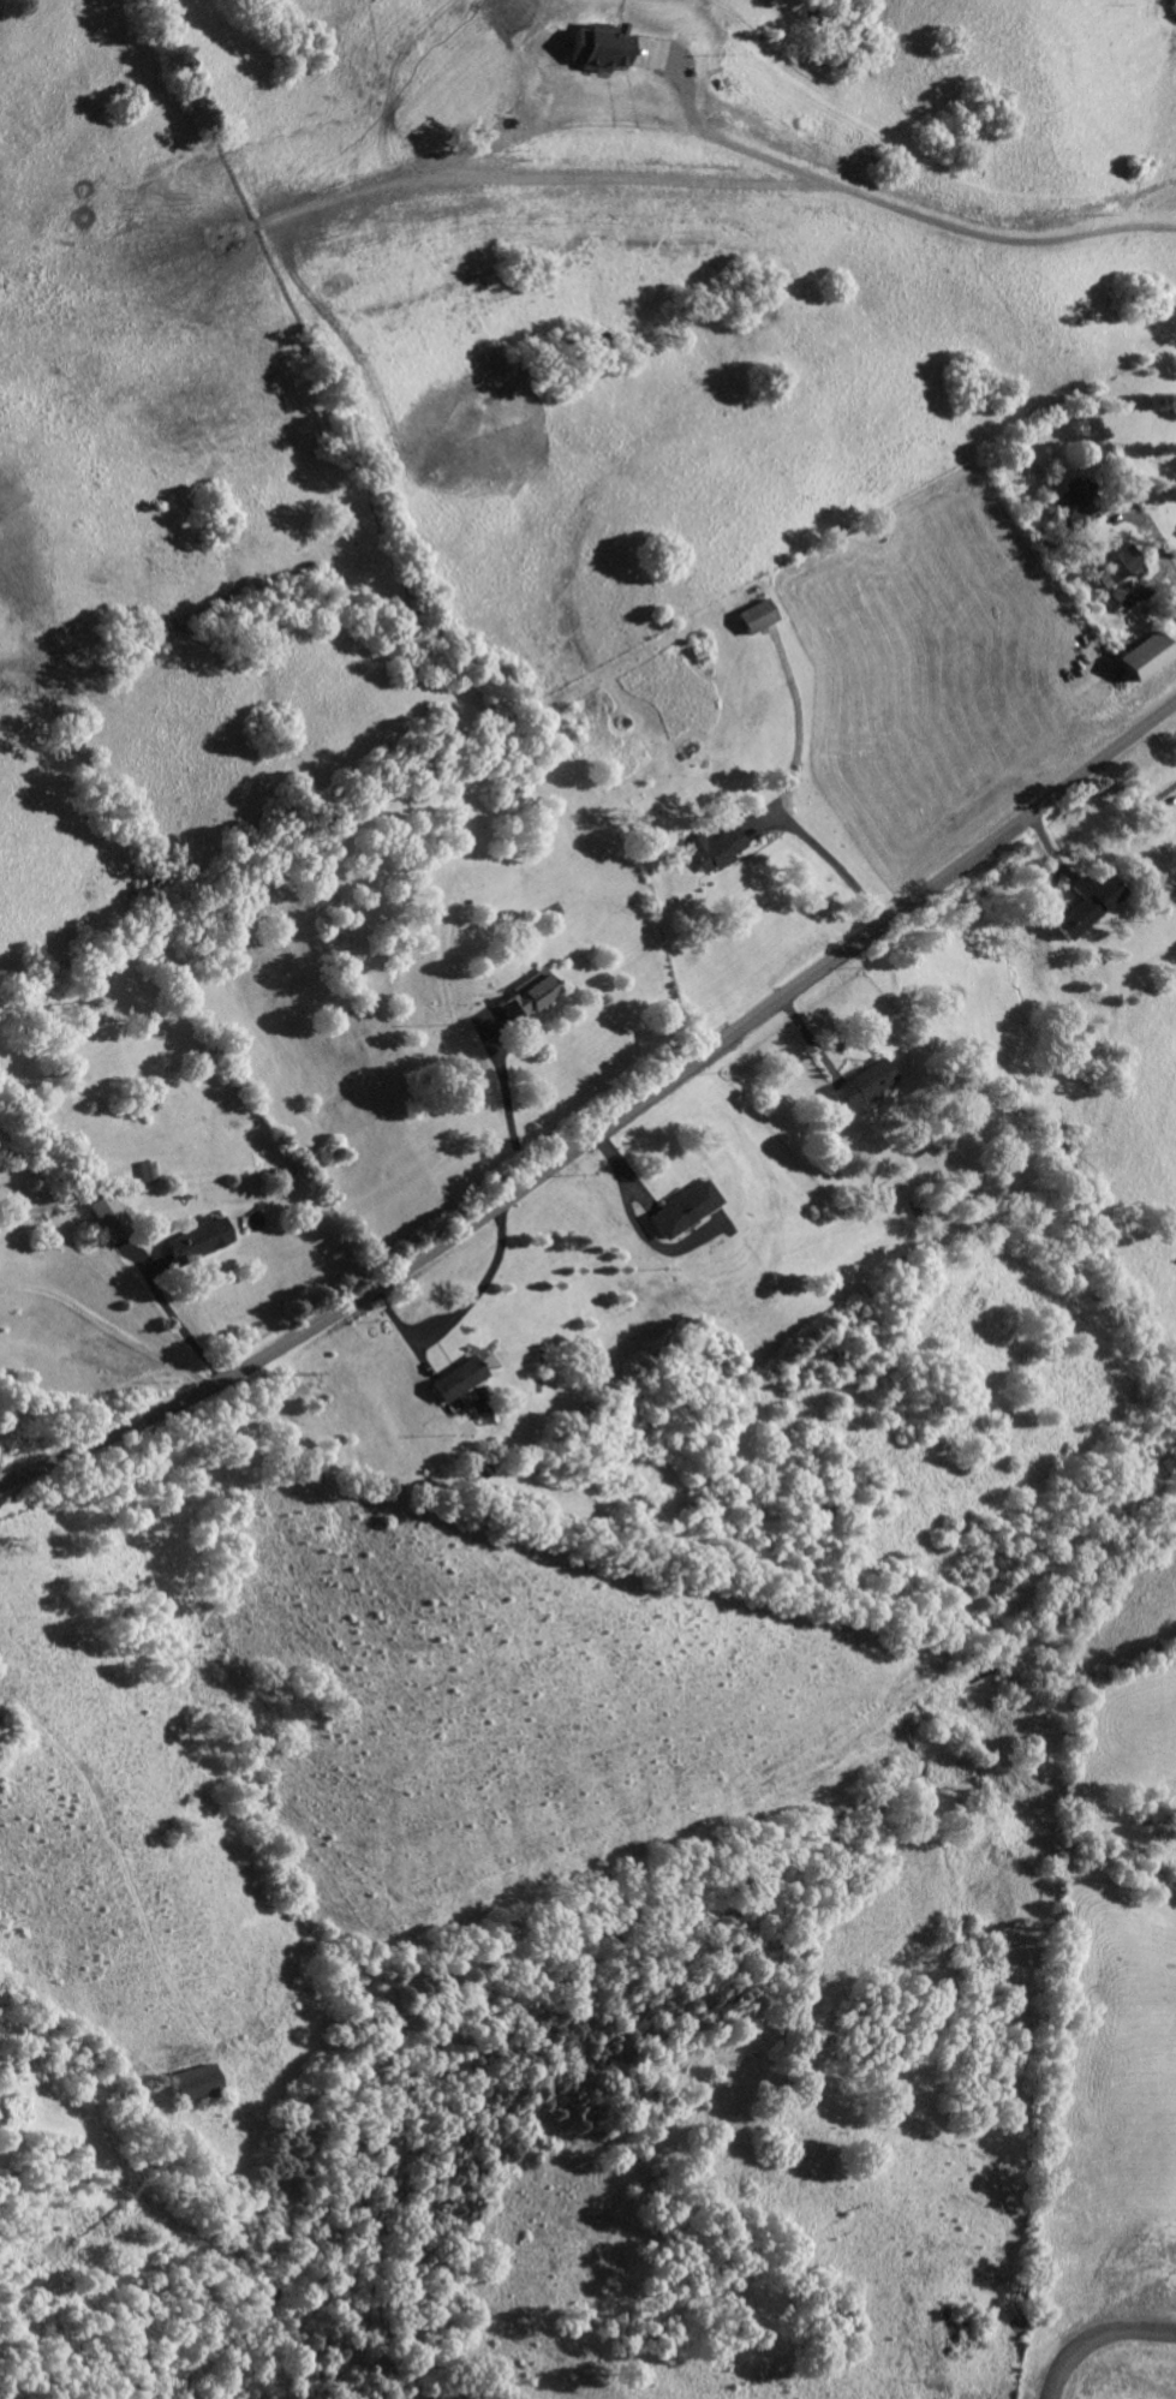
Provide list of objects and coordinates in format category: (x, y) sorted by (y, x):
building: (595, 44)
road: (524, 179)
road: (887, 203)
building: (1073, 500)
road: (1159, 551)
building: (1117, 565)
building: (754, 615)
building: (1142, 655)
building: (714, 847)
road: (830, 865)
building: (1088, 903)
building: (526, 993)
building: (861, 1081)
road: (507, 1106)
road: (608, 1129)
building: (680, 1207)
building: (106, 1221)
building: (196, 1237)
road: (111, 1323)
road: (181, 1323)
building: (479, 1467)
building: (196, 2081)
road: (1097, 2337)

